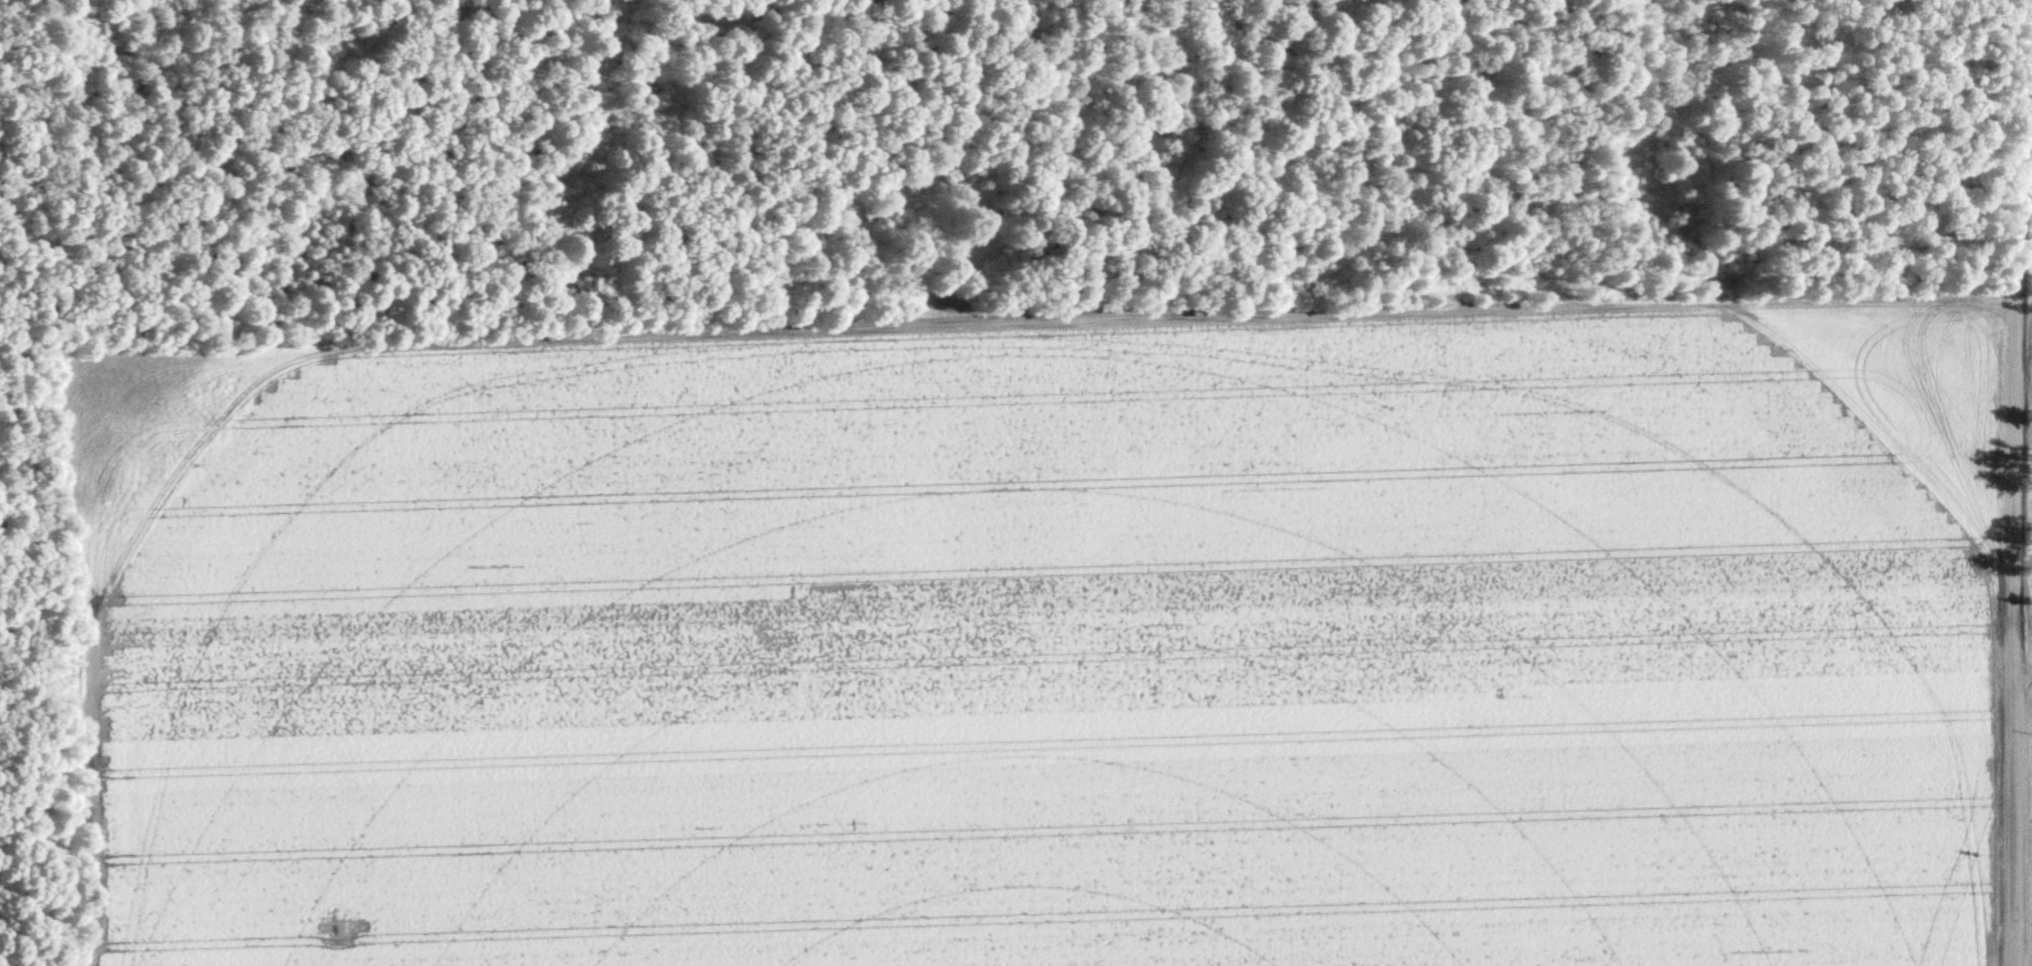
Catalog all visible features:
road: (2026, 178)
road: (2017, 482)

